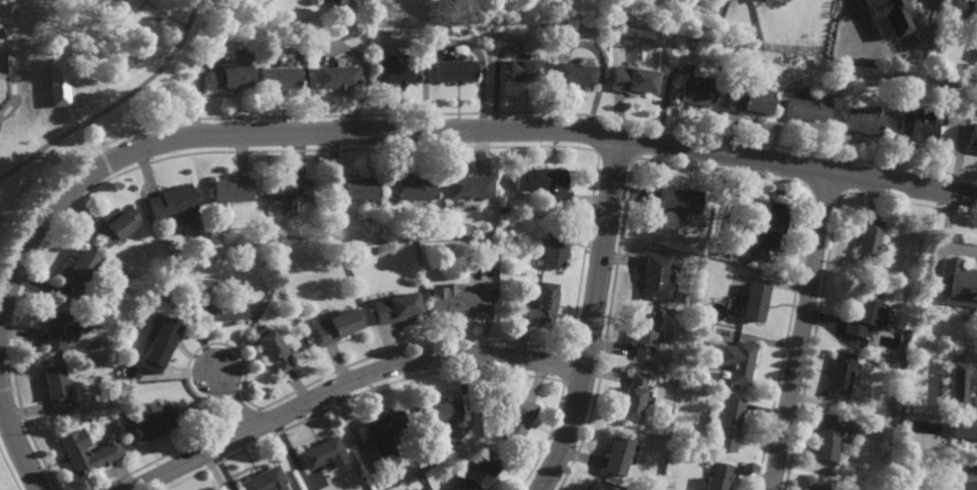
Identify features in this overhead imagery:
building: (766, 1)
building: (338, 3)
building: (222, 11)
building: (966, 11)
road: (165, 15)
road: (132, 16)
building: (889, 16)
building: (976, 54)
park: (3, 64)
building: (524, 68)
building: (453, 70)
building: (56, 71)
building: (397, 72)
building: (573, 73)
building: (231, 74)
building: (338, 76)
building: (632, 77)
building: (280, 78)
building: (699, 90)
building: (749, 97)
road: (118, 107)
building: (809, 109)
road: (4, 114)
building: (862, 119)
building: (917, 127)
road: (443, 131)
building: (972, 134)
road: (93, 137)
road: (104, 157)
building: (546, 183)
building: (468, 186)
building: (352, 188)
building: (414, 188)
building: (230, 190)
building: (288, 191)
building: (680, 199)
building: (175, 206)
building: (501, 209)
building: (772, 223)
building: (116, 226)
building: (435, 232)
building: (489, 233)
building: (867, 240)
building: (488, 245)
building: (552, 248)
building: (347, 253)
building: (485, 258)
building: (80, 269)
building: (657, 278)
building: (957, 284)
building: (885, 285)
building: (155, 293)
building: (453, 301)
building: (755, 301)
building: (539, 306)
building: (390, 308)
building: (222, 309)
road: (594, 318)
building: (862, 319)
road: (0, 320)
building: (333, 326)
building: (61, 329)
road: (802, 332)
building: (645, 334)
building: (159, 340)
building: (271, 349)
building: (738, 361)
building: (838, 374)
road: (349, 381)
road: (8, 388)
building: (57, 388)
building: (634, 397)
building: (961, 400)
road: (2, 402)
road: (232, 403)
building: (975, 413)
building: (434, 417)
building: (516, 420)
building: (153, 422)
building: (729, 424)
building: (380, 426)
road: (14, 434)
building: (829, 436)
building: (91, 438)
building: (82, 453)
building: (321, 455)
building: (617, 456)
road: (9, 469)
building: (477, 475)
building: (719, 476)
building: (264, 481)
building: (970, 485)
building: (814, 487)
building: (594, 489)

